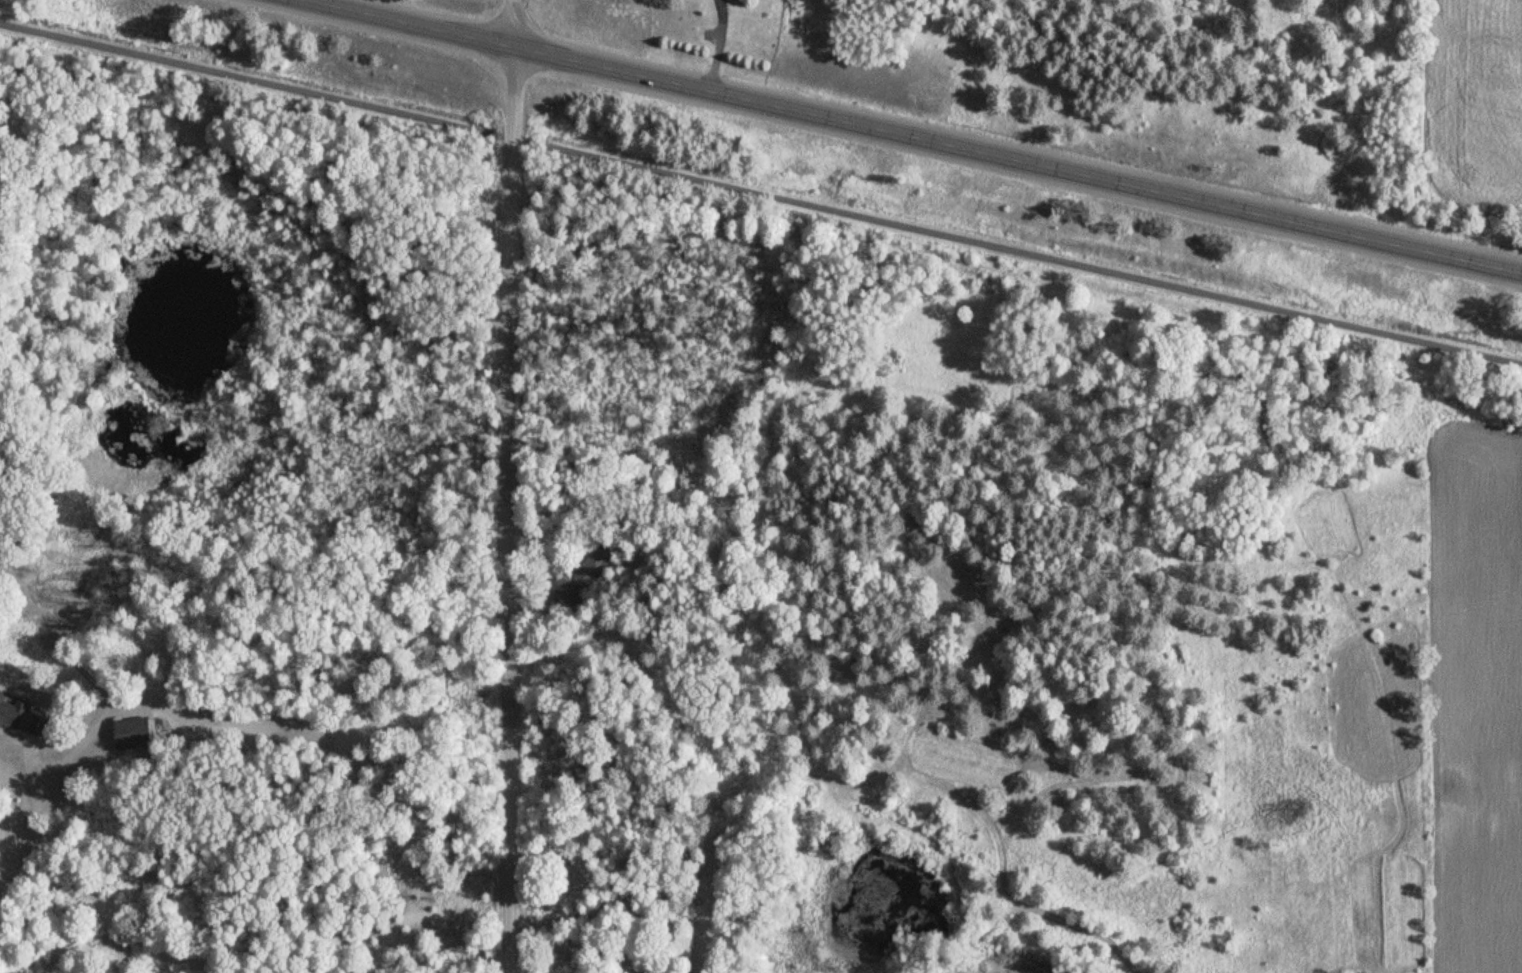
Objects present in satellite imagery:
road: (239, 78)
road: (913, 137)
road: (1034, 258)
road: (511, 486)
building: (23, 714)
building: (136, 733)

